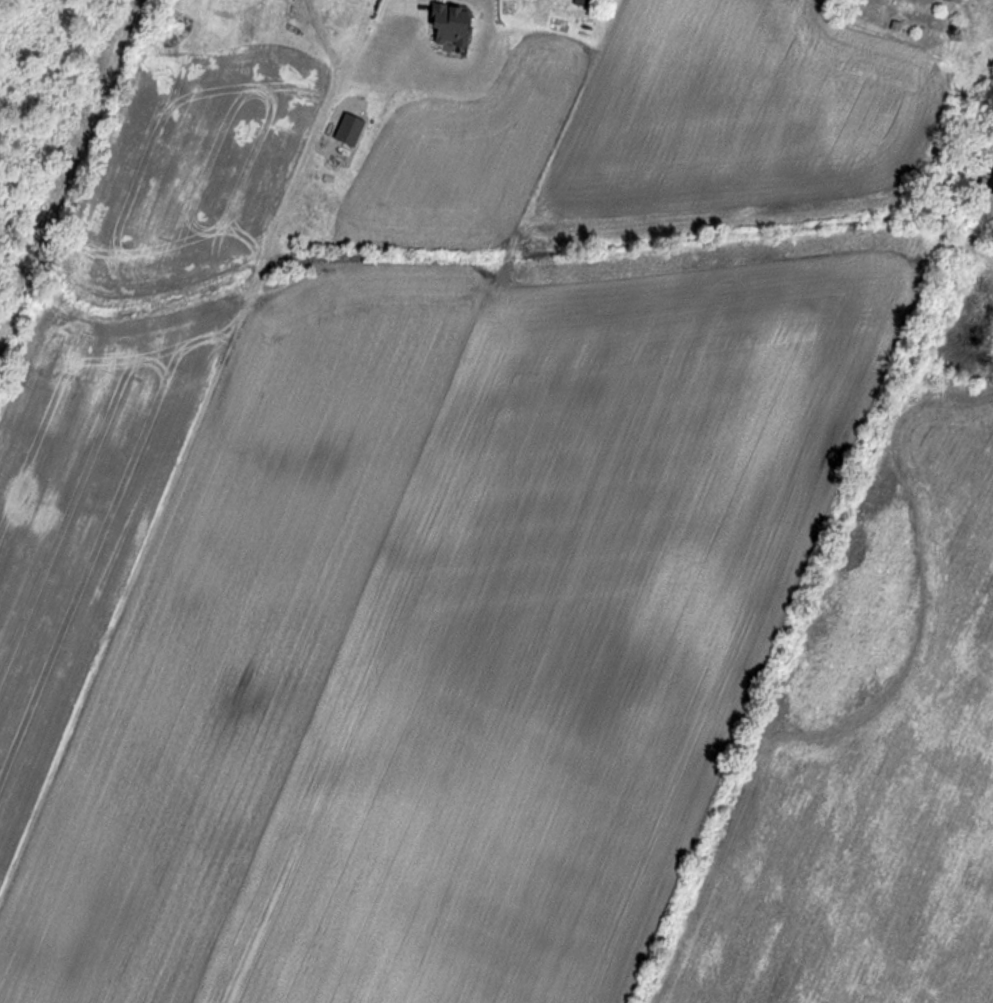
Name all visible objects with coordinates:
building: (954, 0)
road: (408, 7)
building: (449, 25)
crop: (655, 128)
building: (348, 130)
crop: (124, 397)
crop: (450, 628)
crop: (878, 736)

